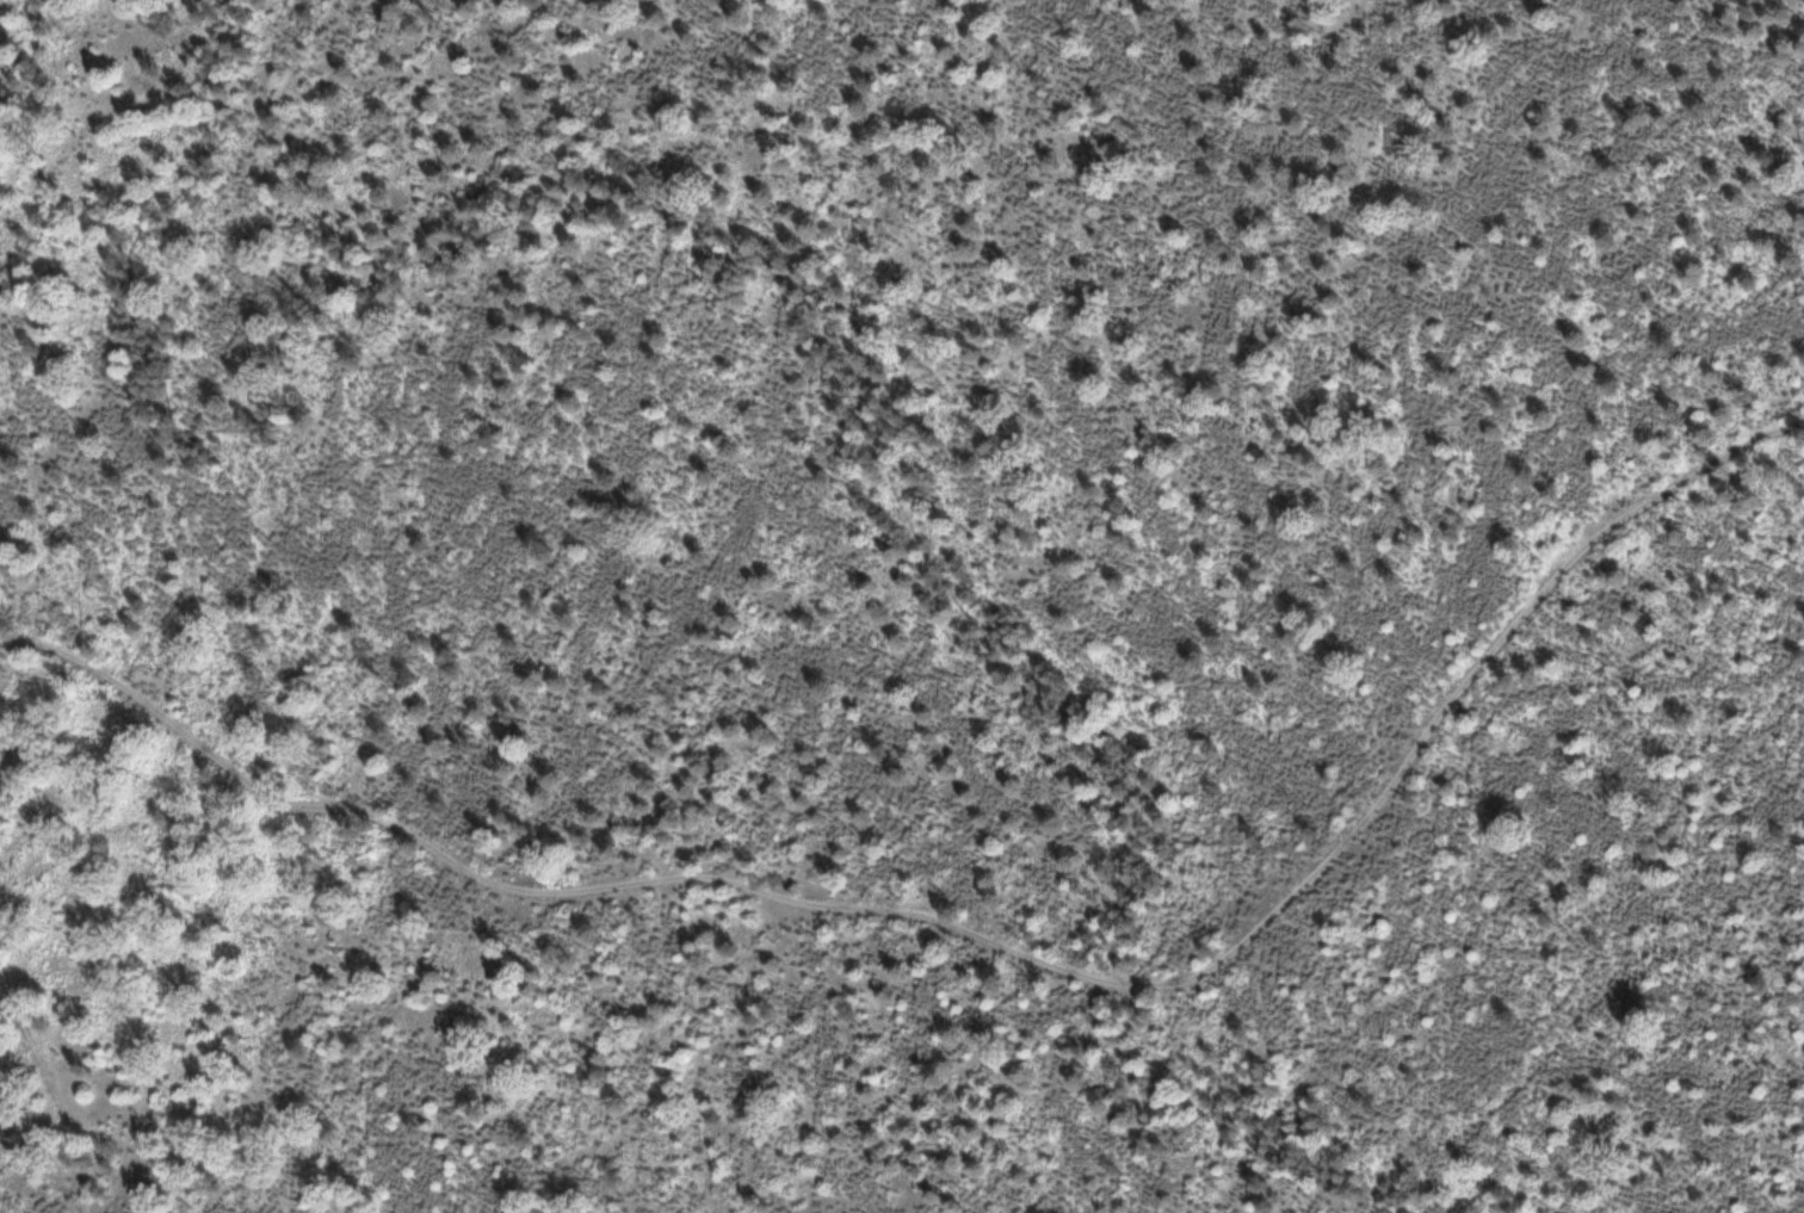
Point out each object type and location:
road: (31, 67)
road: (829, 291)
road: (980, 934)
road: (55, 1095)

